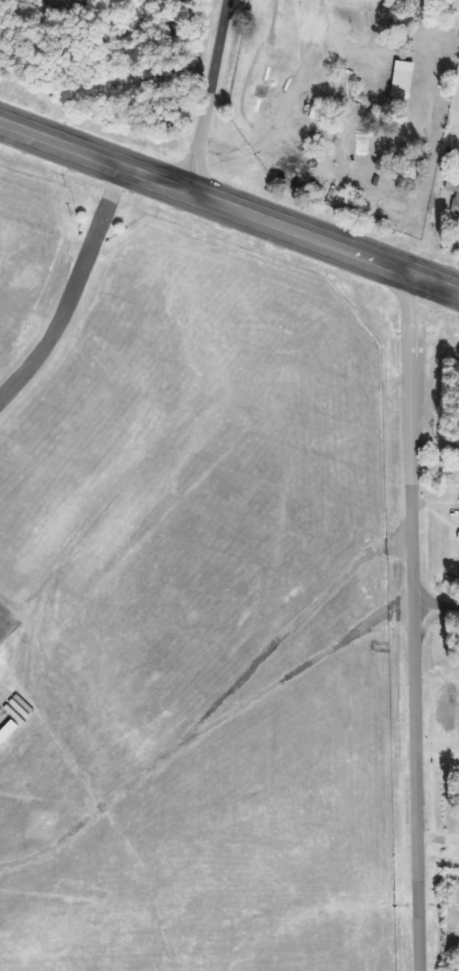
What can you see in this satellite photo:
building: (402, 79)
road: (209, 96)
road: (181, 188)
building: (456, 203)
road: (410, 273)
road: (73, 290)
road: (436, 606)
airport: (187, 607)
road: (6, 621)
road: (414, 622)
airport apron: (4, 720)
building: (8, 732)
road: (202, 732)

